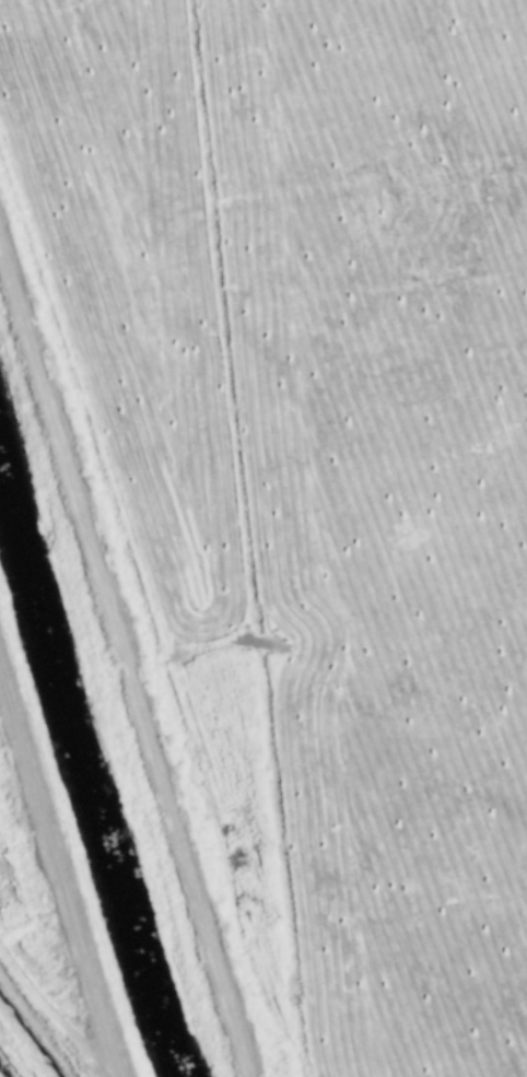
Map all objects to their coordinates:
river: (87, 813)
road: (57, 883)

